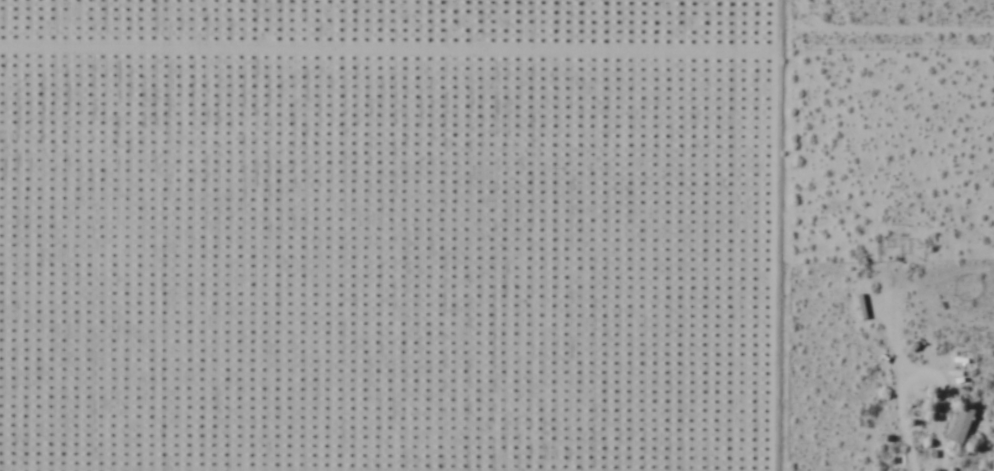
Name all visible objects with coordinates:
road: (875, 47)
road: (737, 234)
building: (958, 424)

